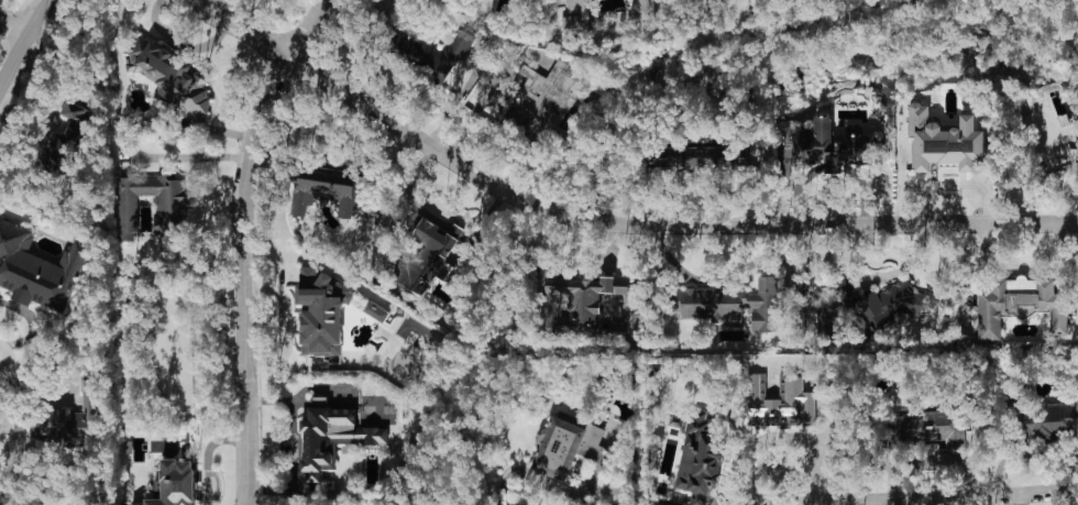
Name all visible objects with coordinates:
building: (640, 8)
building: (576, 17)
road: (12, 29)
road: (20, 42)
building: (421, 50)
building: (170, 76)
building: (544, 97)
building: (76, 113)
building: (1077, 123)
building: (857, 129)
building: (944, 140)
building: (64, 146)
building: (832, 149)
building: (1077, 151)
road: (185, 155)
building: (686, 157)
road: (939, 182)
building: (328, 187)
building: (168, 218)
road: (607, 221)
road: (240, 242)
building: (430, 256)
building: (37, 268)
road: (713, 276)
road: (869, 277)
building: (577, 300)
building: (732, 303)
building: (1019, 303)
building: (867, 307)
building: (321, 310)
building: (375, 310)
building: (367, 319)
building: (781, 400)
building: (73, 417)
building: (1047, 420)
building: (927, 428)
building: (332, 437)
building: (559, 446)
road: (206, 457)
building: (697, 457)
building: (174, 483)
road: (945, 499)
building: (671, 504)

